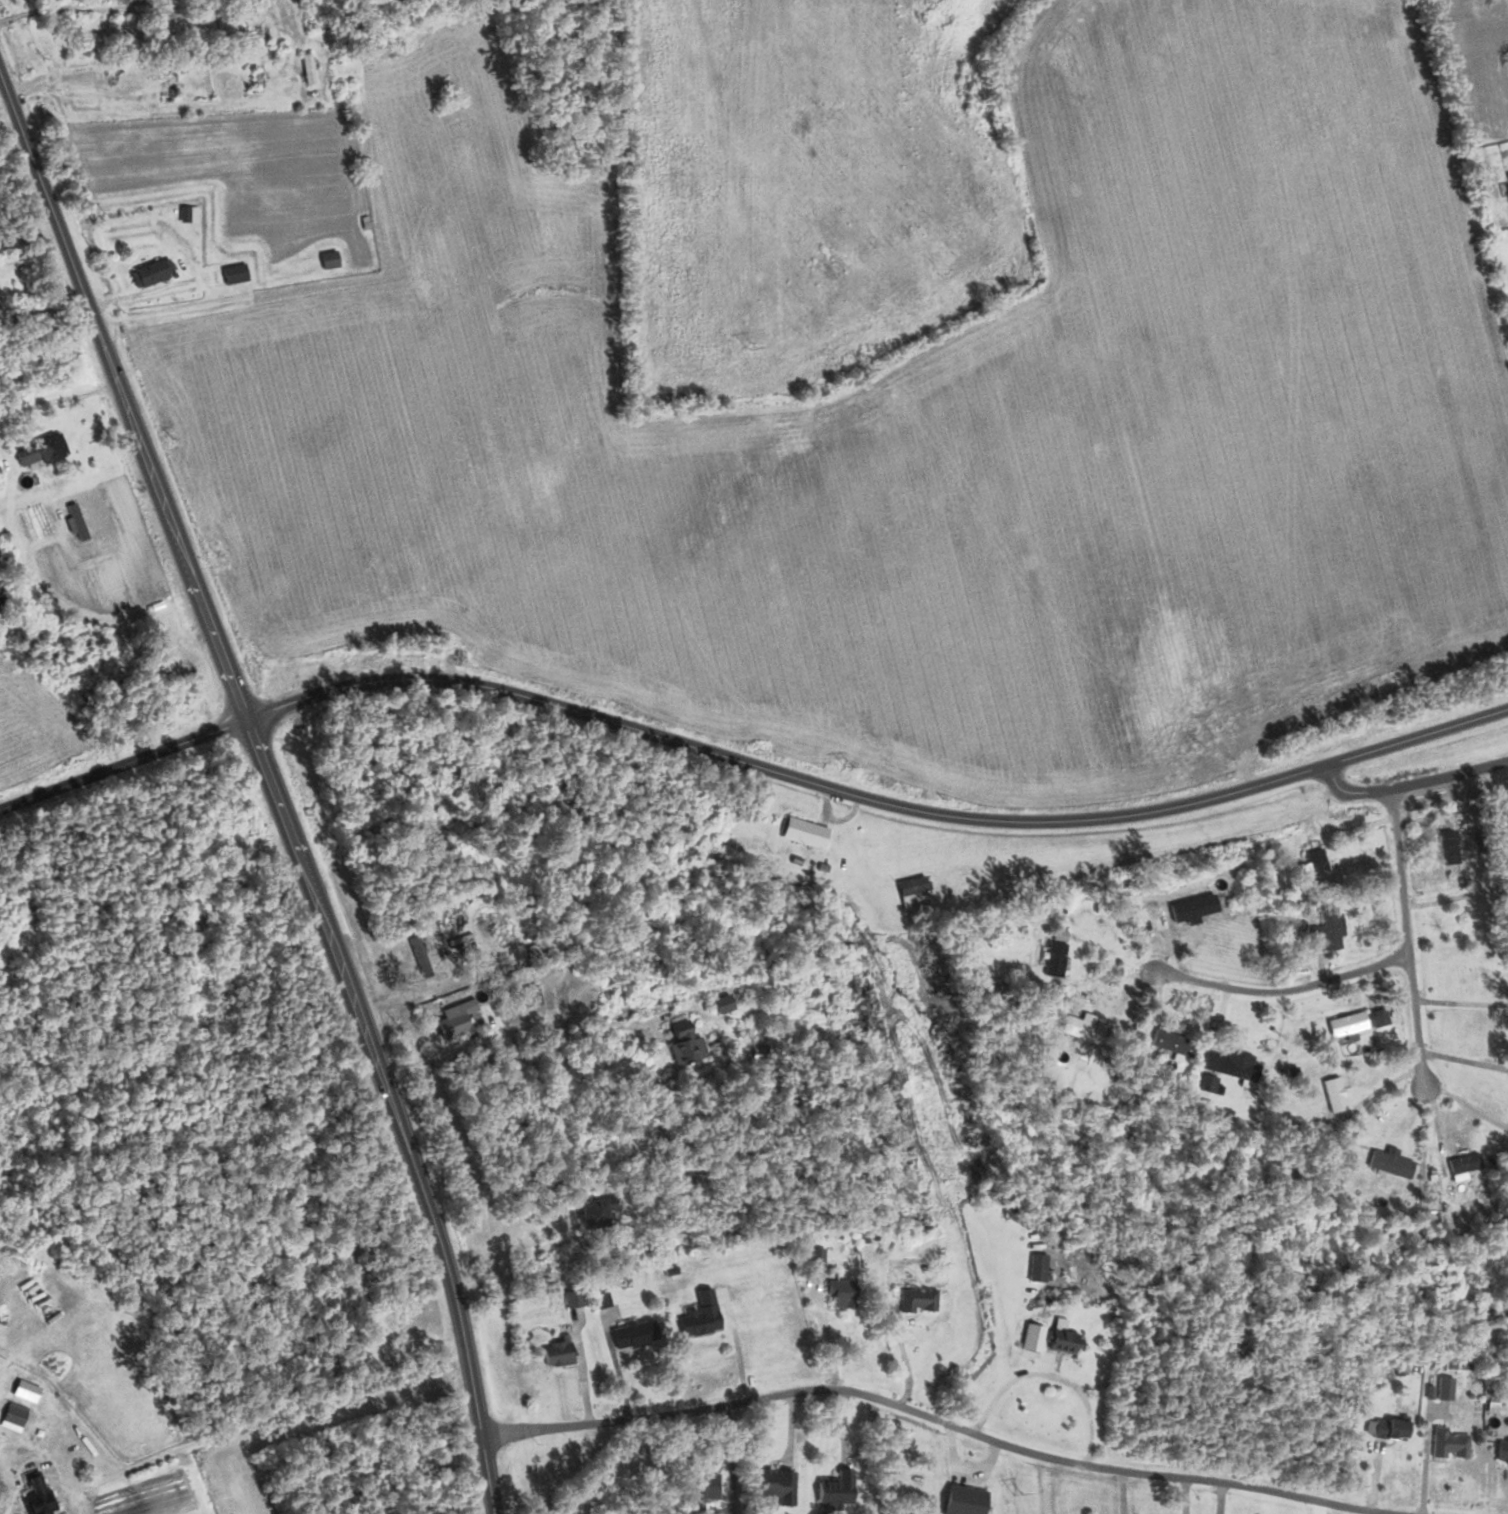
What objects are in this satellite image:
building: (226, 24)
building: (304, 68)
road: (6, 91)
road: (17, 151)
building: (1505, 180)
building: (185, 212)
building: (326, 257)
building: (147, 270)
building: (231, 272)
road: (45, 311)
power tower: (749, 347)
road: (59, 400)
building: (34, 449)
road: (107, 612)
road: (125, 762)
power tower: (848, 762)
road: (274, 778)
road: (1411, 782)
road: (876, 799)
building: (800, 831)
building: (1446, 845)
building: (1314, 864)
building: (958, 877)
building: (910, 891)
building: (1183, 909)
building: (1325, 928)
road: (1406, 935)
building: (1053, 952)
road: (1283, 986)
building: (719, 1002)
building: (452, 1018)
building: (1355, 1020)
building: (1078, 1029)
building: (680, 1042)
building: (1171, 1042)
road: (522, 1051)
building: (1227, 1065)
building: (1333, 1092)
building: (1383, 1159)
building: (1469, 1162)
power tower: (943, 1176)
building: (589, 1214)
building: (815, 1257)
building: (839, 1292)
building: (571, 1297)
building: (918, 1299)
building: (698, 1315)
park: (395, 1318)
building: (631, 1334)
building: (1059, 1340)
building: (556, 1352)
building: (1442, 1387)
road: (939, 1408)
building: (10, 1413)
road: (283, 1416)
building: (1387, 1429)
building: (1447, 1443)
building: (1500, 1450)
building: (772, 1483)
building: (835, 1487)
power tower: (1022, 1491)
building: (33, 1493)
building: (961, 1499)

